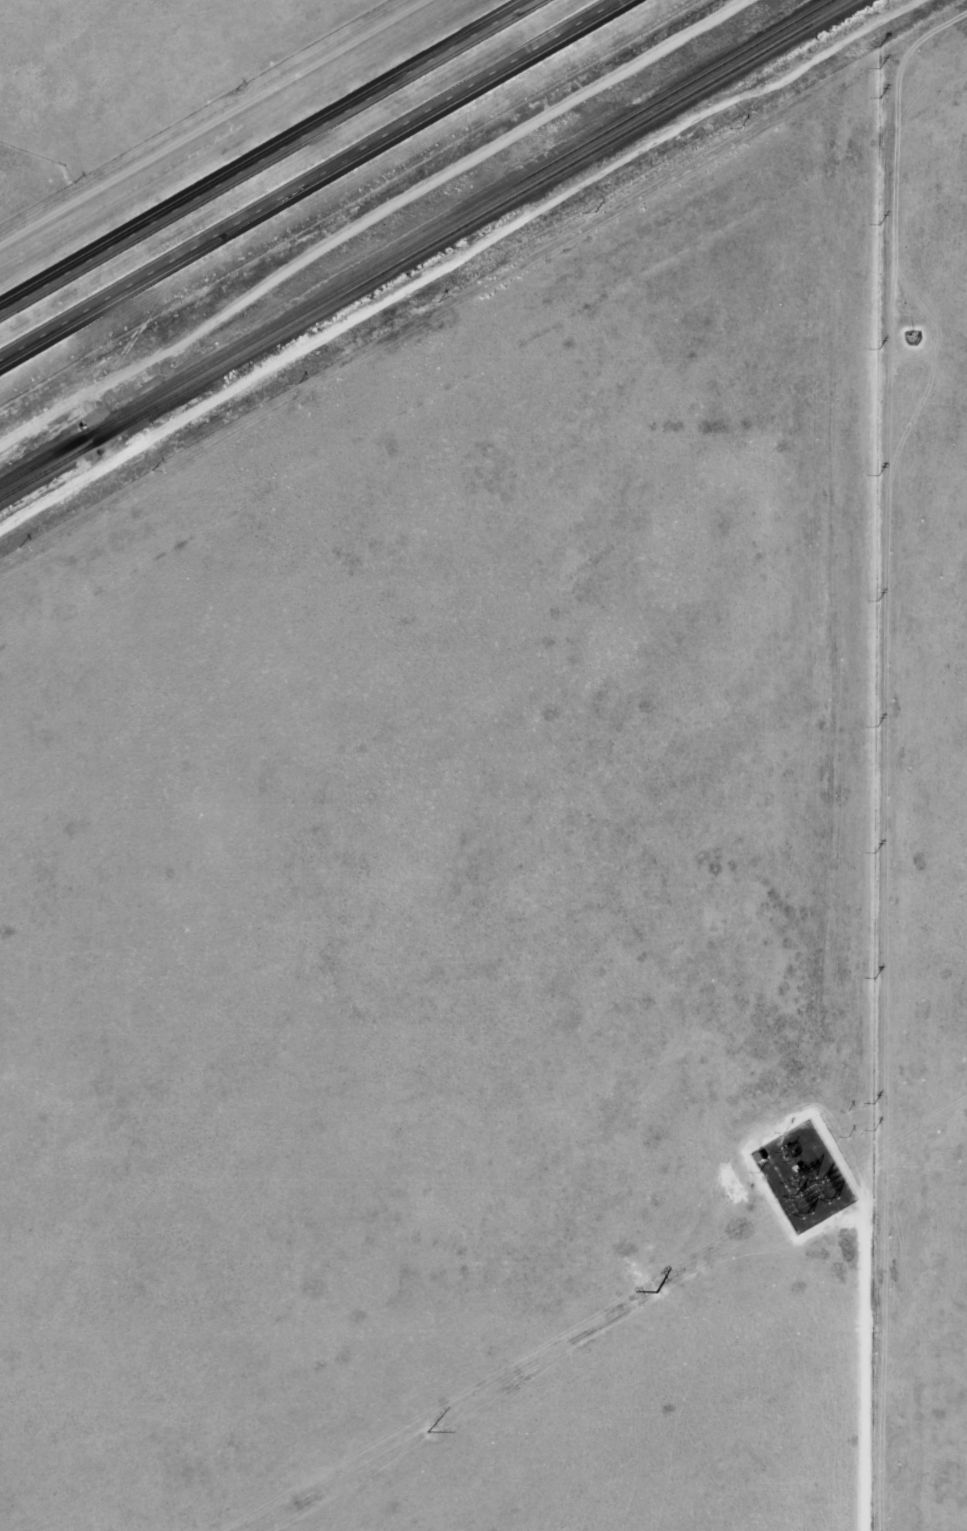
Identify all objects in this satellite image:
road: (273, 157)
road: (318, 183)
railway: (419, 242)
railway: (429, 249)
power tower: (966, 1112)
power substation: (804, 1174)
power tower: (833, 1187)
power tower: (807, 1202)
power tower: (663, 1287)
power tower: (431, 1423)

